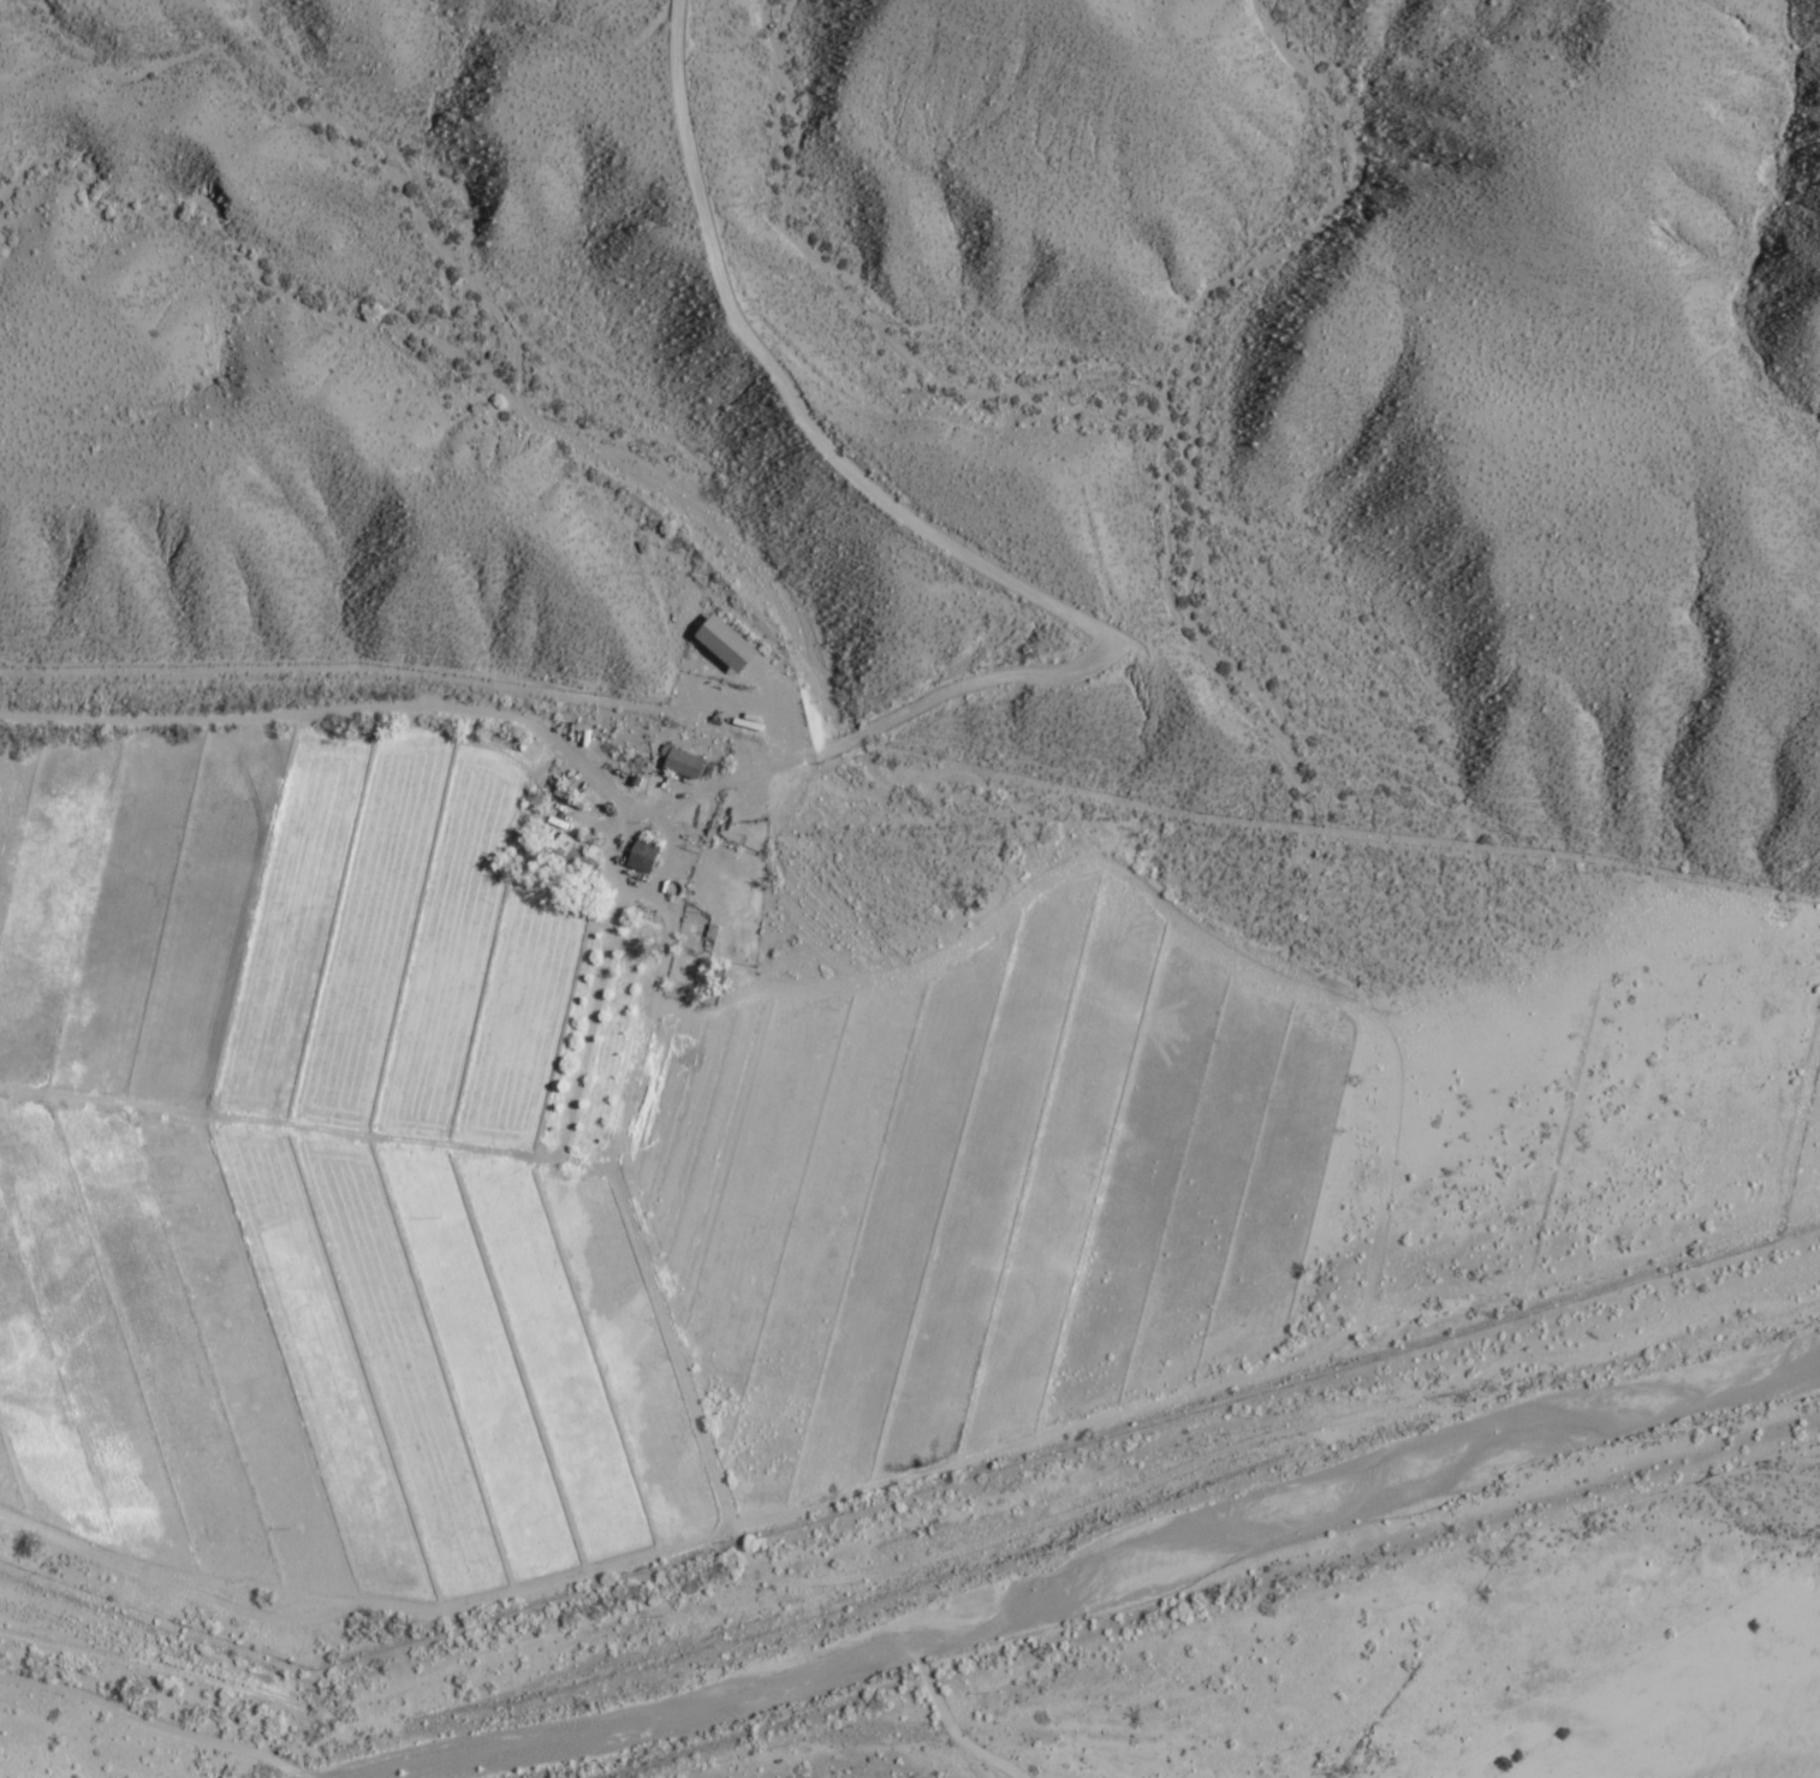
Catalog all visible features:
building: (727, 643)
road: (946, 704)
building: (683, 763)
road: (576, 767)
road: (690, 1257)
road: (533, 1729)

